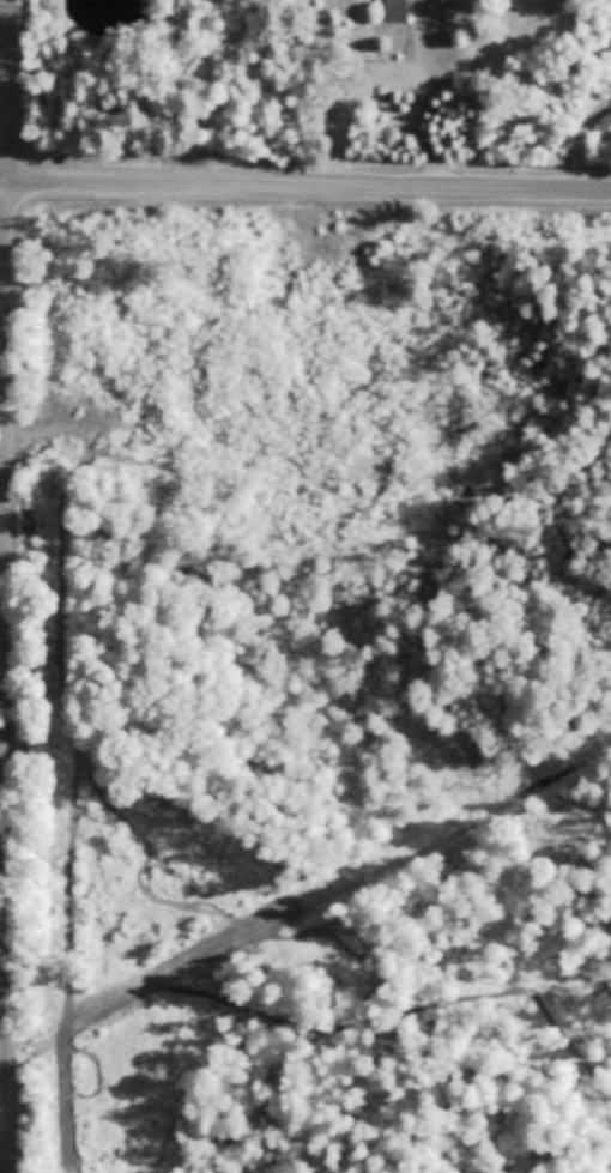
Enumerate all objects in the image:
road: (305, 180)
road: (0, 1056)

